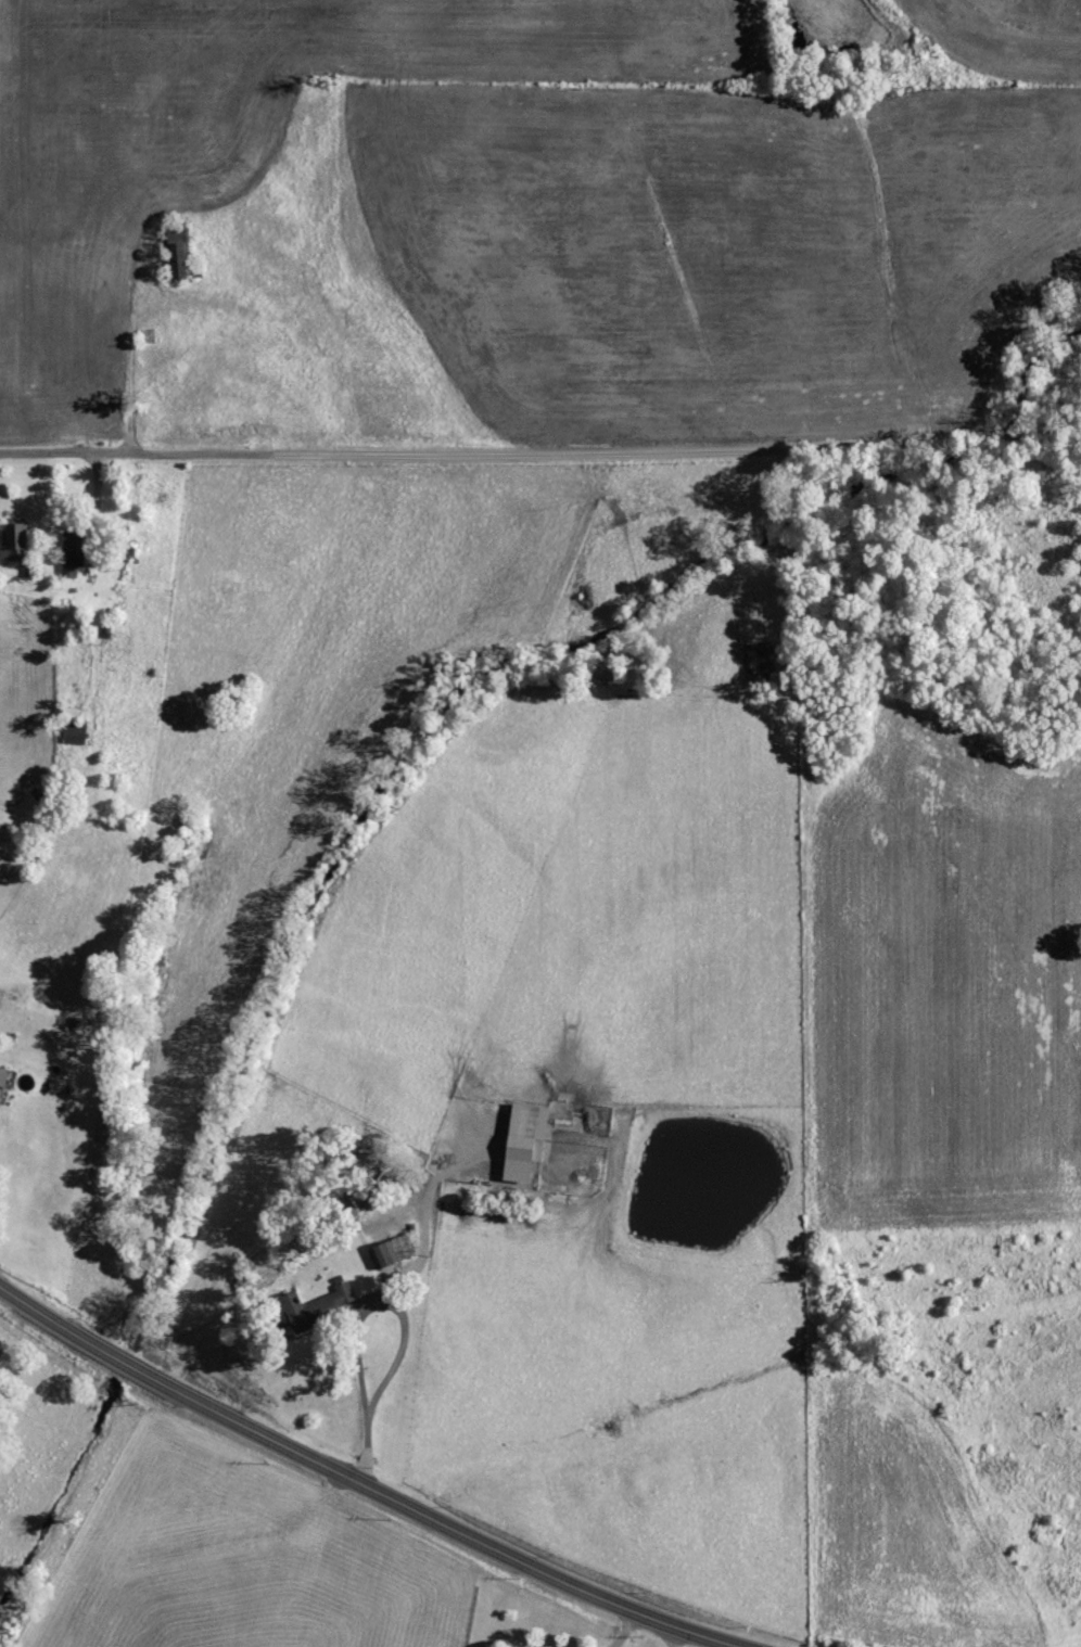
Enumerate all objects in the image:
building: (178, 255)
road: (288, 342)
road: (540, 452)
road: (97, 535)
building: (15, 542)
building: (75, 732)
building: (3, 1075)
building: (526, 1132)
building: (399, 1247)
building: (384, 1253)
building: (318, 1305)
road: (354, 1305)
road: (366, 1435)
road: (361, 1481)
road: (623, 1627)
road: (672, 1634)

